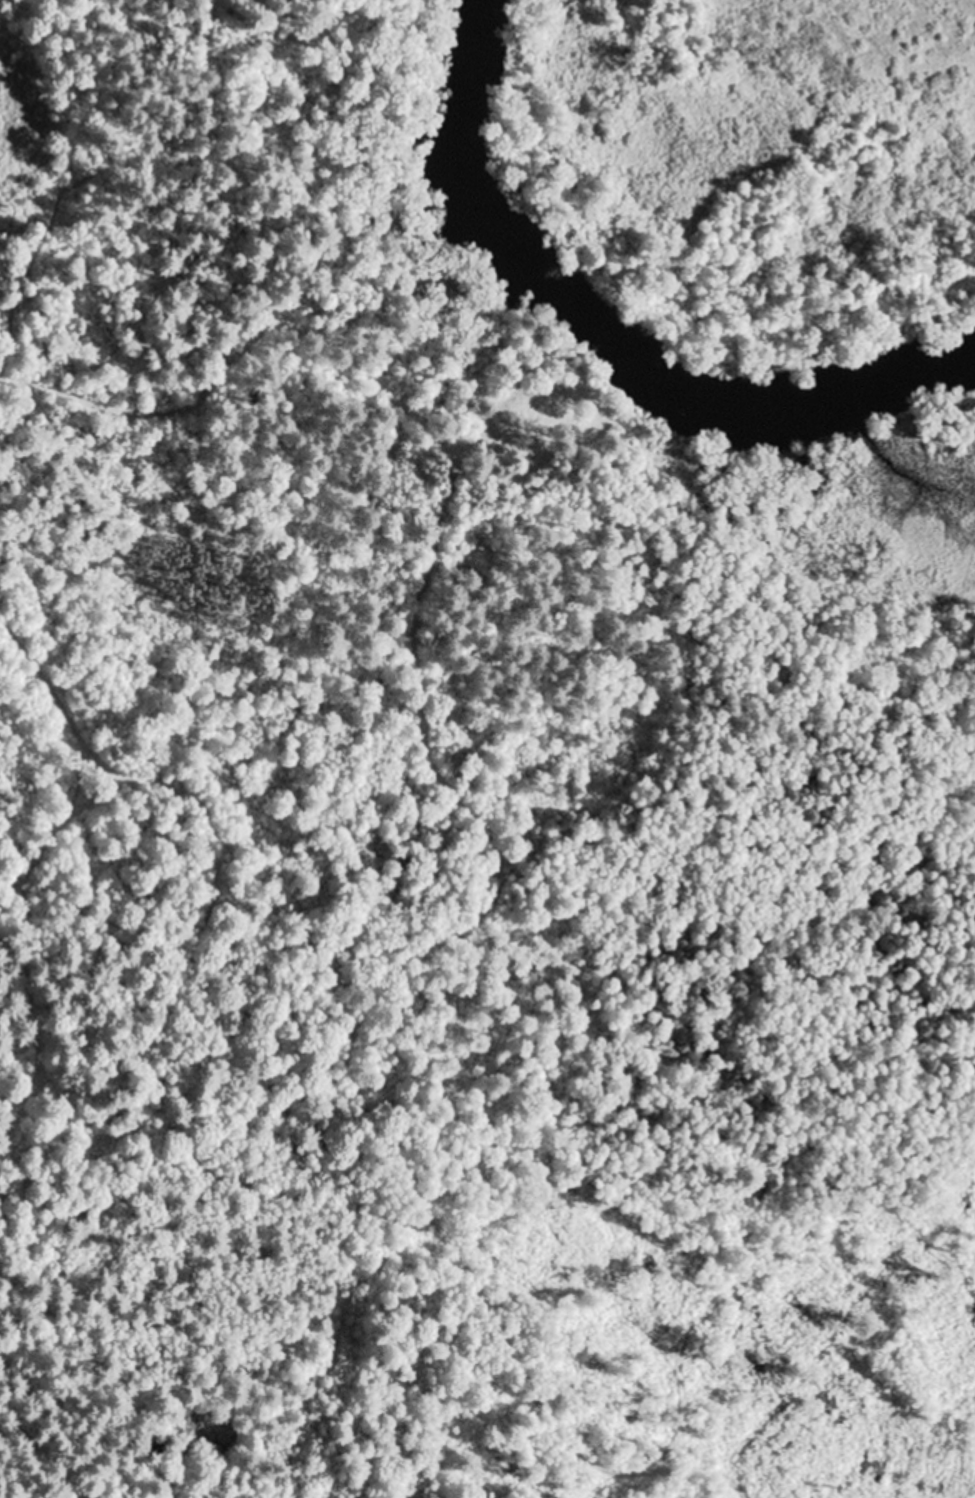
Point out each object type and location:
river: (596, 336)

